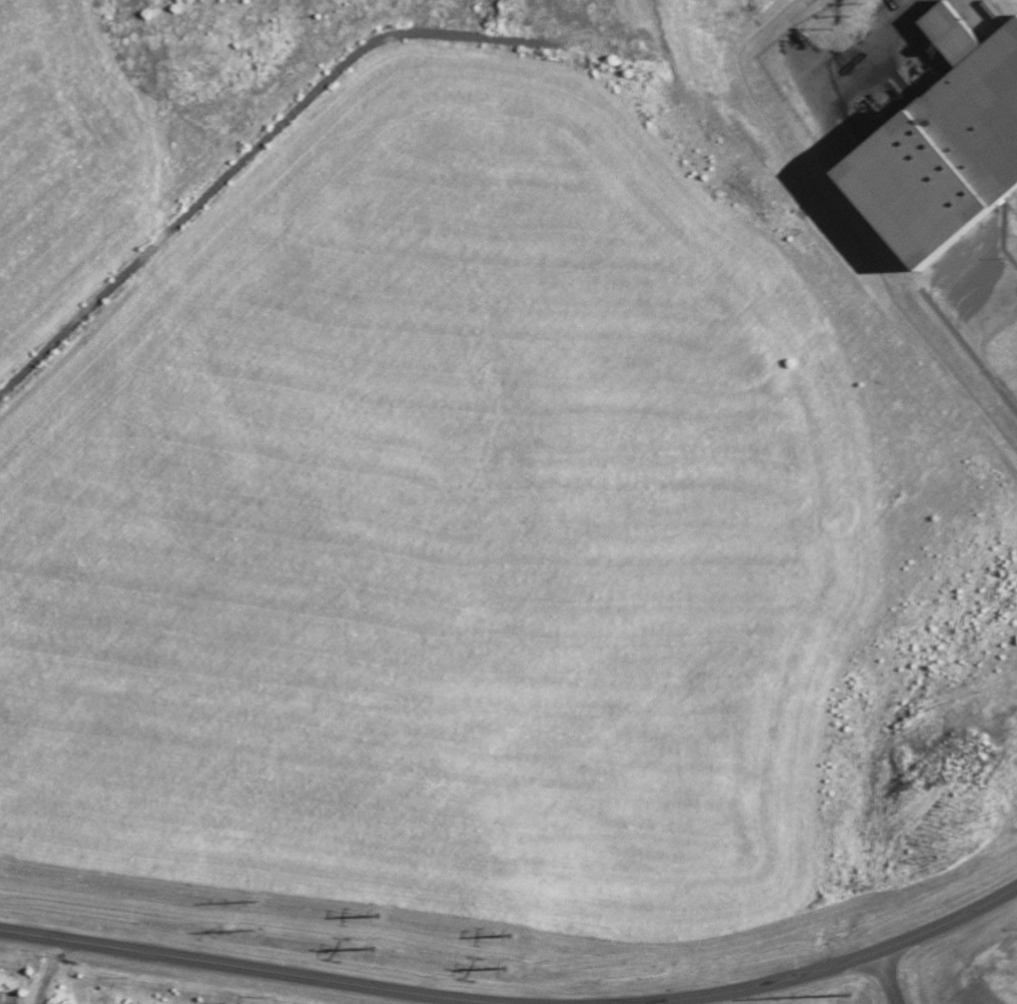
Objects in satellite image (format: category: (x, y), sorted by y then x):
building: (940, 145)
road: (973, 355)
power tower: (250, 915)
power tower: (370, 928)
power tower: (506, 950)
road: (831, 967)
road: (242, 968)
road: (886, 978)
power tower: (848, 1003)

